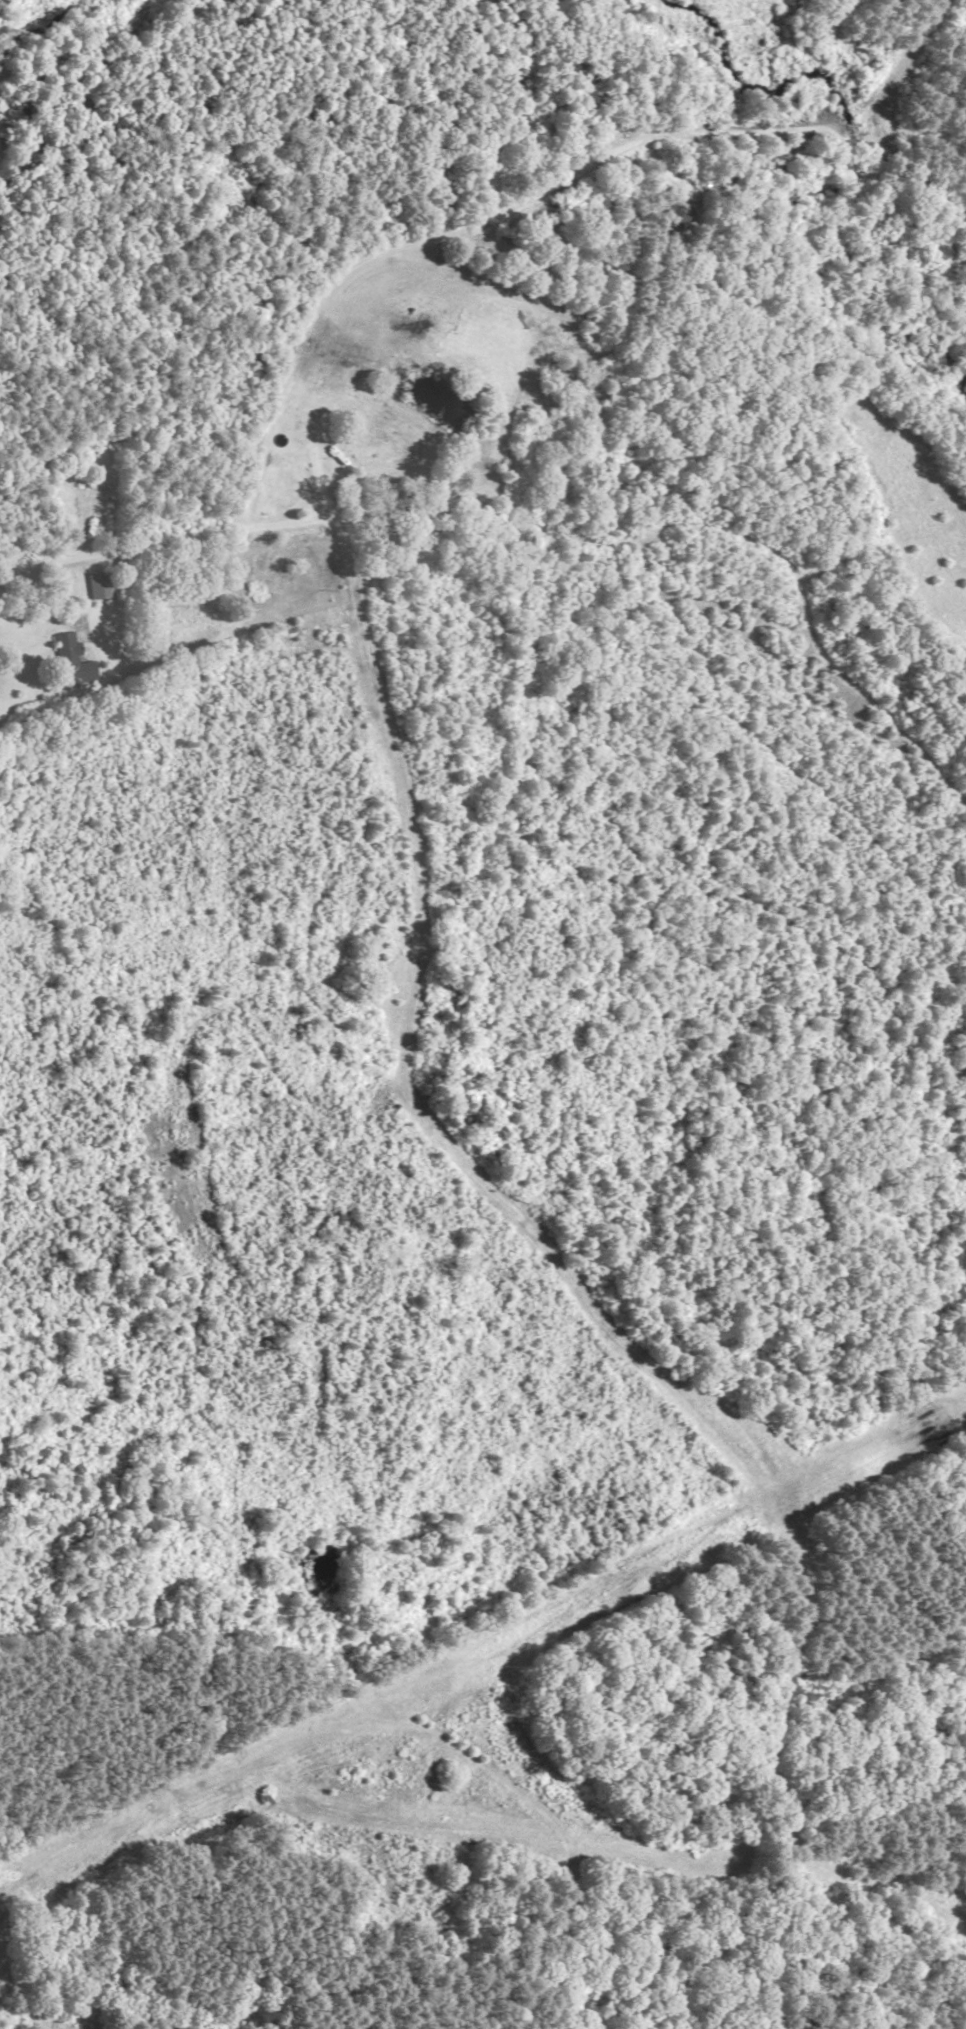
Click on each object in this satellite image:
building: (675, 220)
road: (406, 249)
building: (567, 385)
building: (99, 587)
building: (71, 664)

